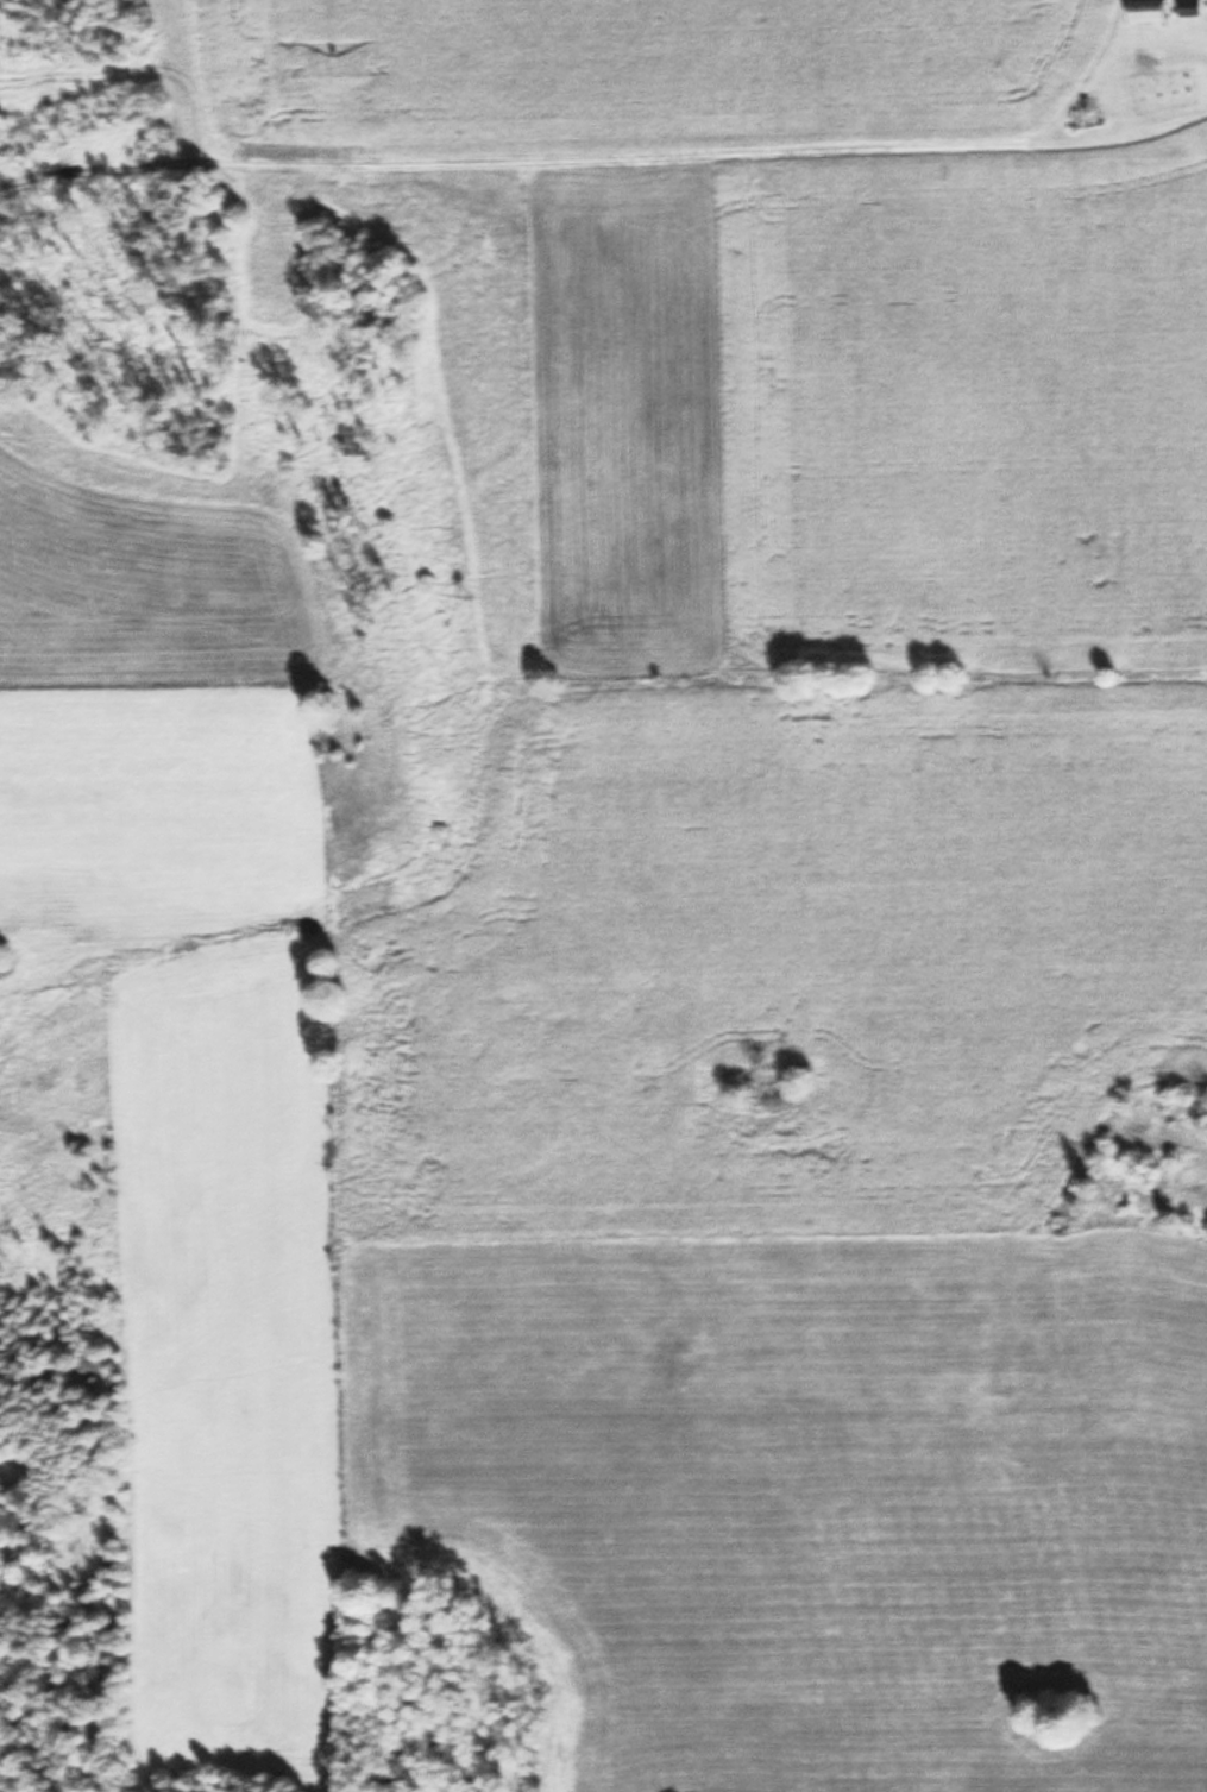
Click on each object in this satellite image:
building: (1189, 8)
building: (1150, 11)
building: (1071, 1195)
building: (1056, 1226)

